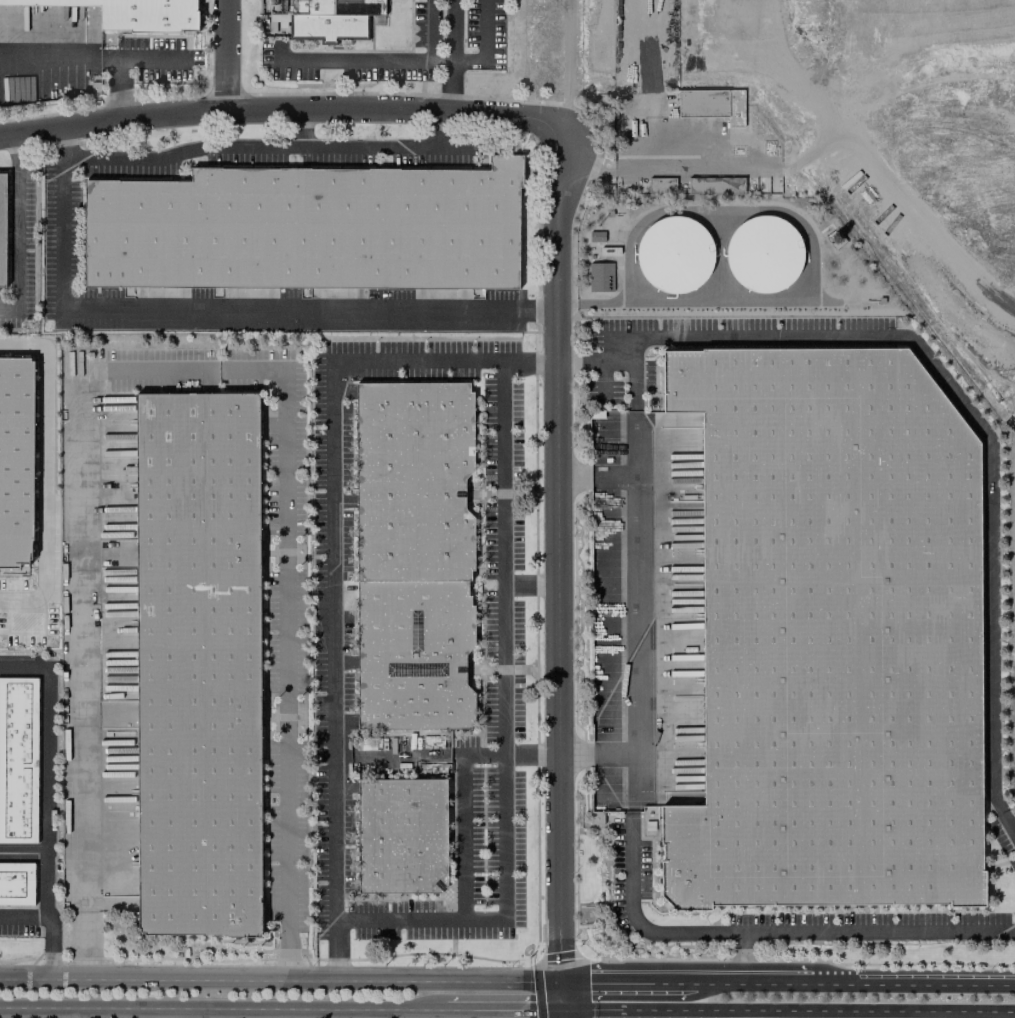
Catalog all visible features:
building: (135, 13)
building: (321, 18)
road: (230, 55)
road: (91, 58)
road: (153, 58)
road: (378, 61)
road: (480, 64)
road: (567, 67)
building: (700, 102)
road: (282, 110)
road: (301, 128)
road: (438, 128)
road: (639, 133)
road: (272, 147)
road: (669, 166)
building: (706, 186)
road: (720, 211)
building: (2, 228)
road: (17, 229)
building: (309, 229)
building: (763, 253)
building: (674, 254)
building: (600, 277)
road: (694, 304)
road: (218, 311)
road: (595, 363)
road: (605, 381)
road: (635, 420)
building: (15, 461)
road: (43, 471)
road: (594, 478)
road: (554, 554)
building: (413, 555)
road: (498, 557)
road: (332, 562)
road: (286, 576)
road: (527, 583)
building: (831, 635)
road: (87, 641)
building: (198, 665)
road: (415, 753)
road: (596, 753)
building: (18, 760)
road: (45, 768)
building: (596, 818)
building: (401, 835)
road: (22, 852)
building: (16, 883)
road: (500, 891)
road: (49, 924)
road: (84, 945)
road: (742, 958)
road: (279, 980)
road: (619, 982)
road: (742, 983)
road: (910, 984)
road: (561, 997)
road: (219, 1009)
road: (443, 1011)
road: (504, 1011)
road: (168, 1013)
road: (788, 1014)
road: (562, 1015)

